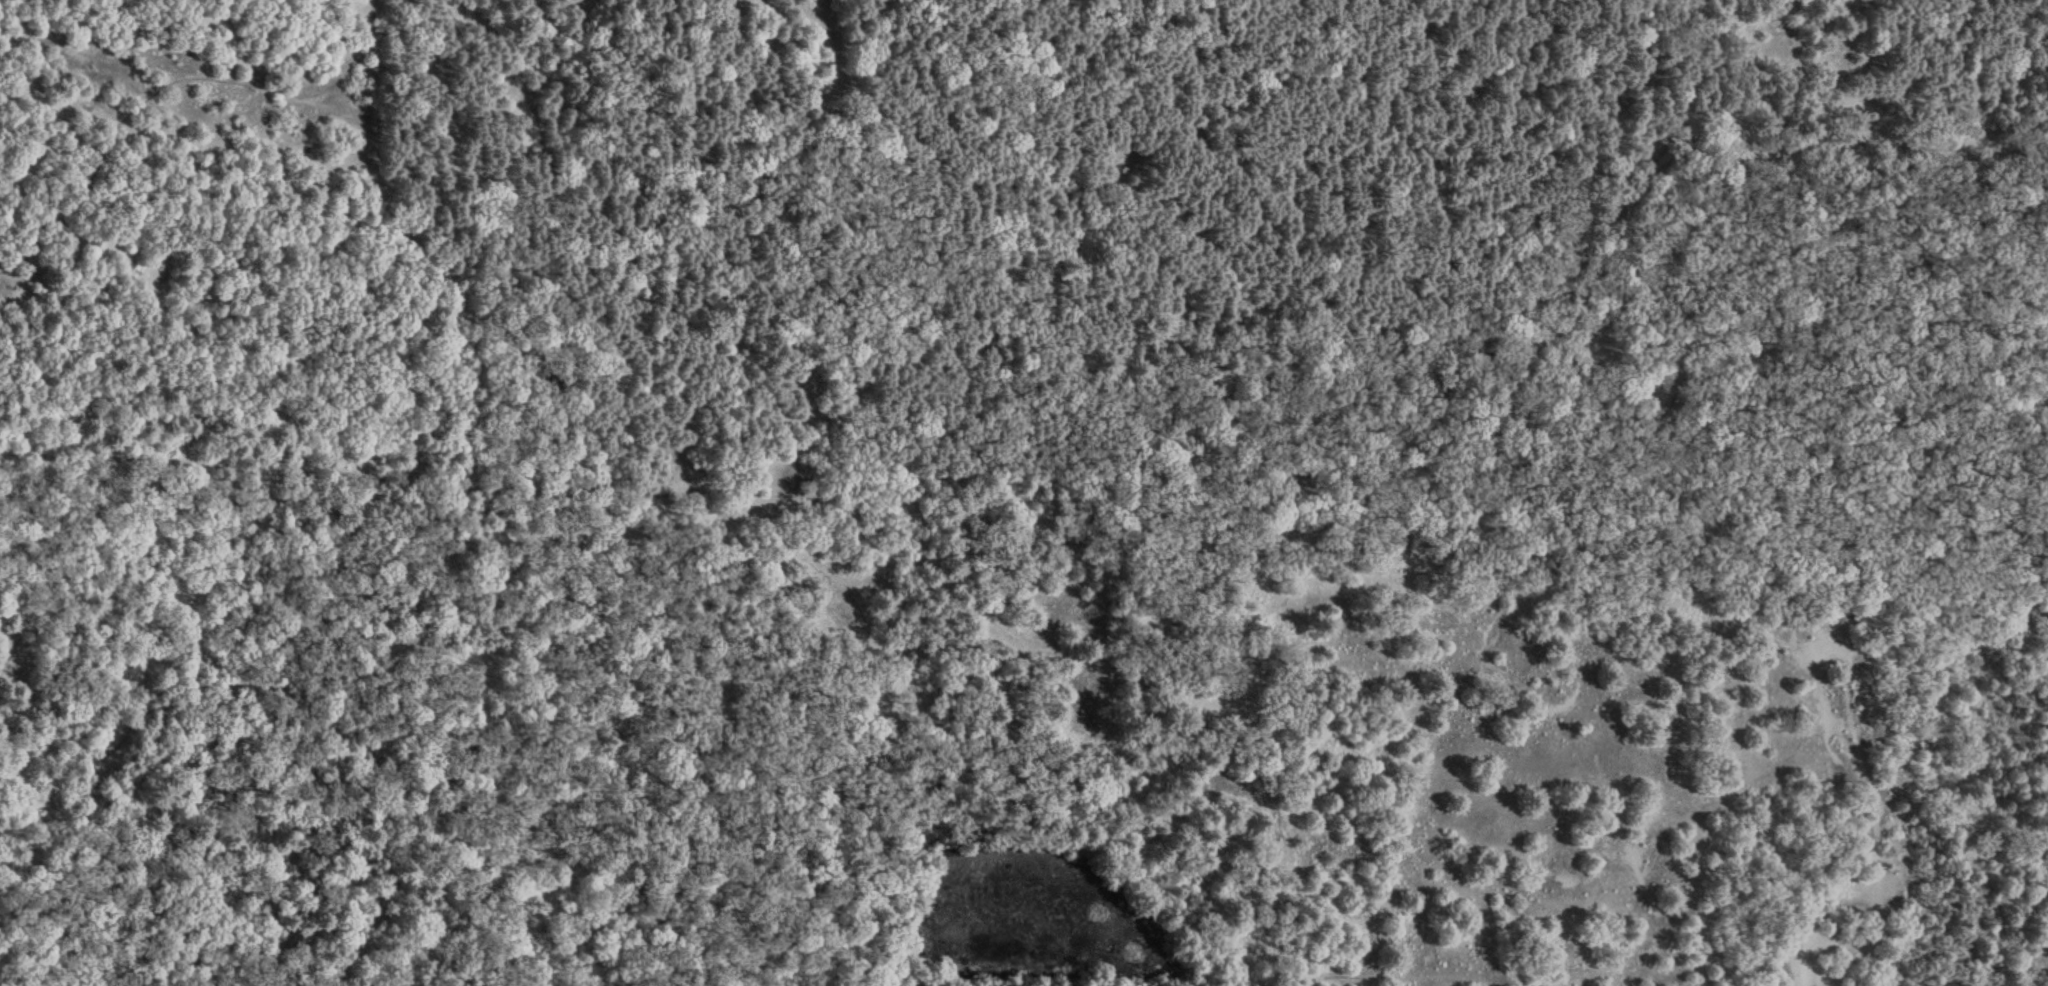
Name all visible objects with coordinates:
road: (1024, 503)

